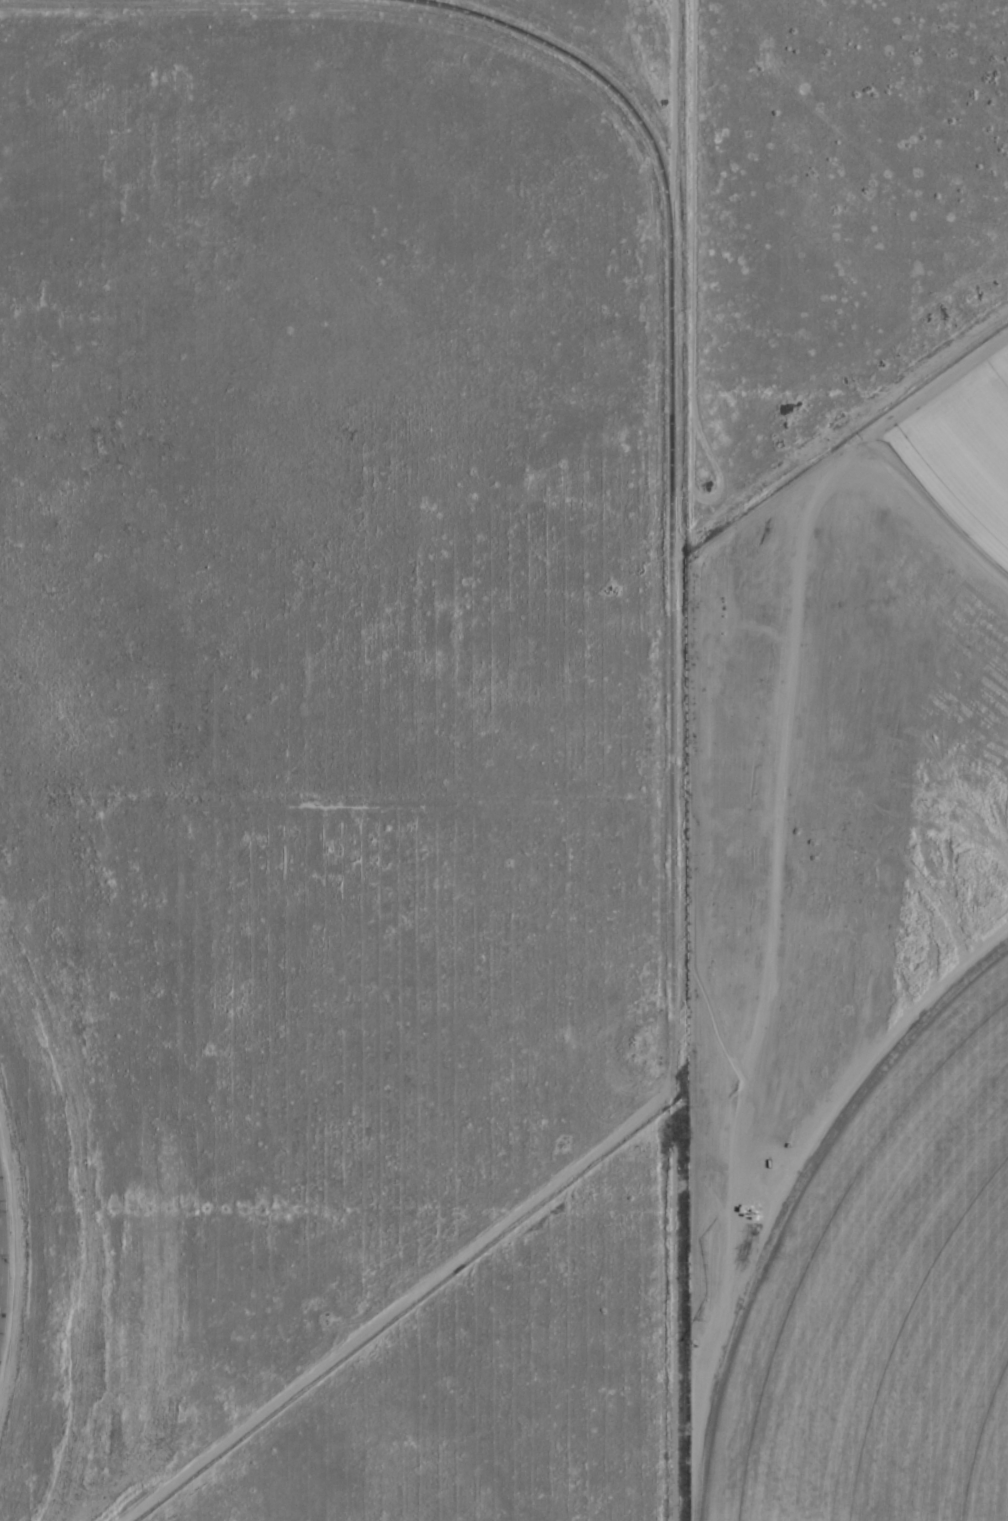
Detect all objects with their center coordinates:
crop: (951, 450)
road: (0, 1258)
crop: (882, 1297)

